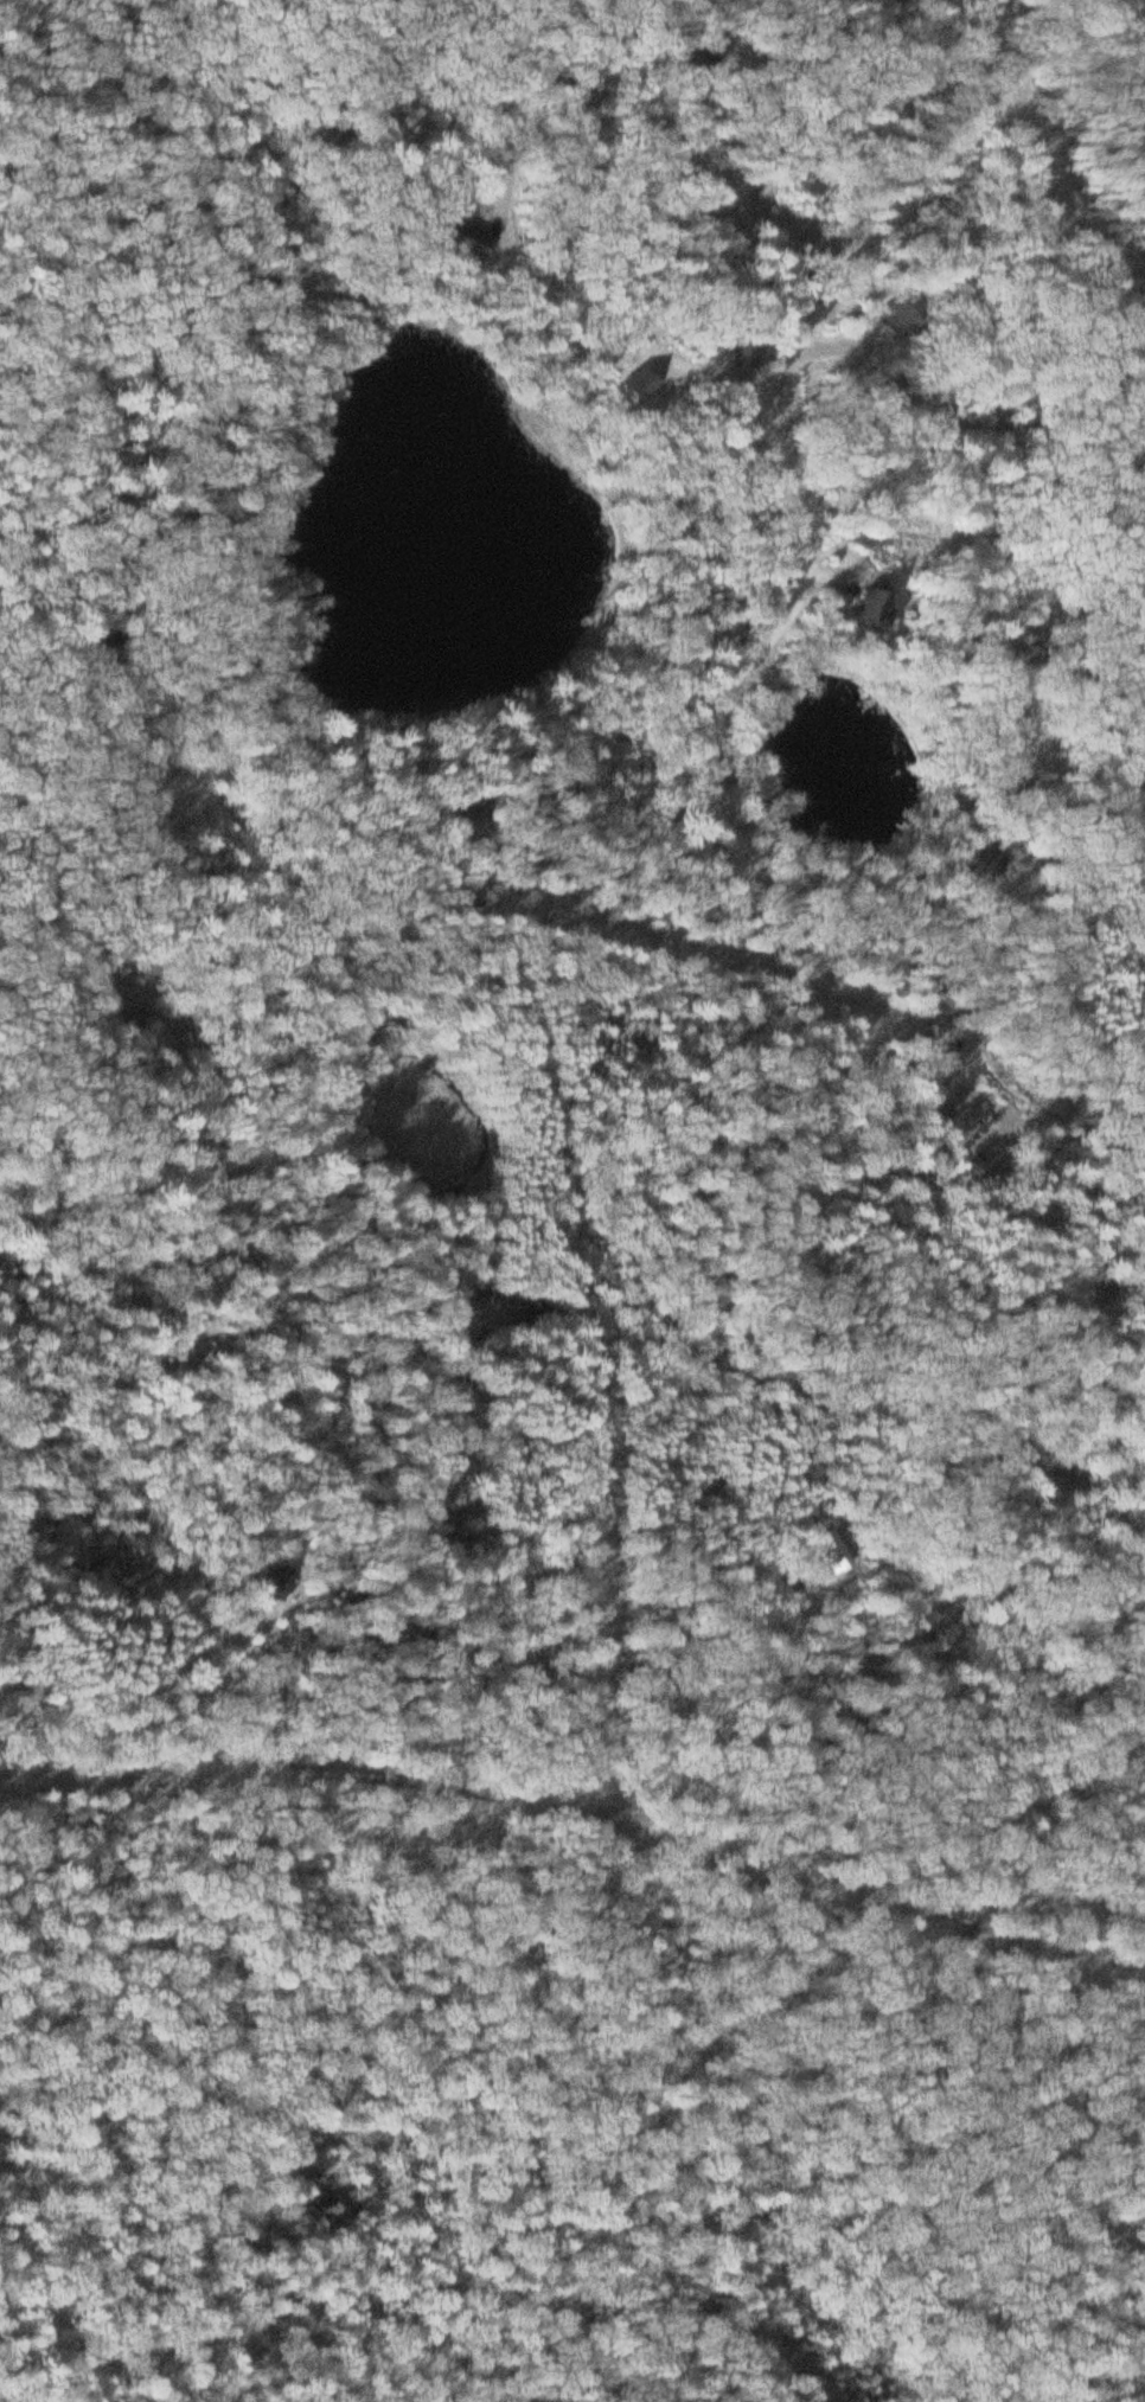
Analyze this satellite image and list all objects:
building: (471, 248)
building: (641, 386)
building: (983, 858)
road: (569, 1804)
road: (181, 2005)

